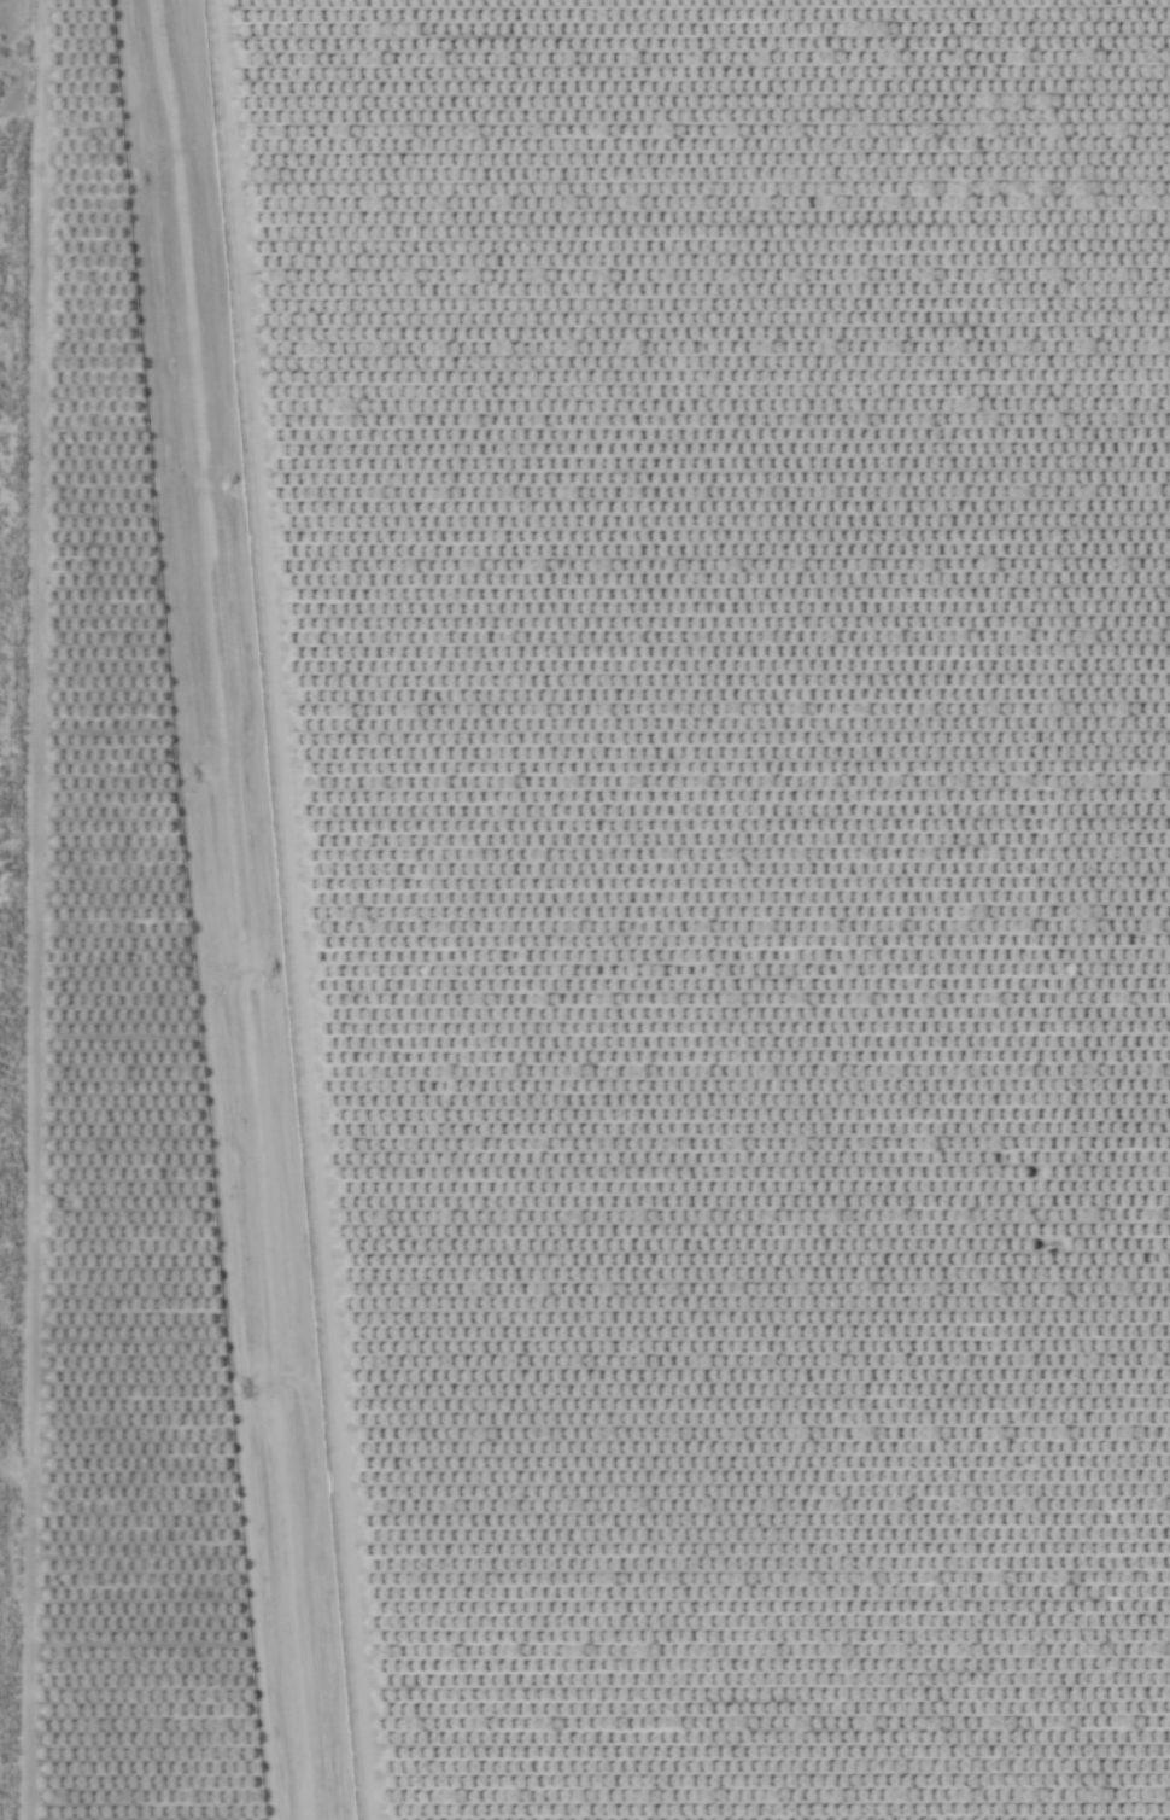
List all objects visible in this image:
railway: (229, 909)
railway: (241, 909)
crop: (586, 910)

